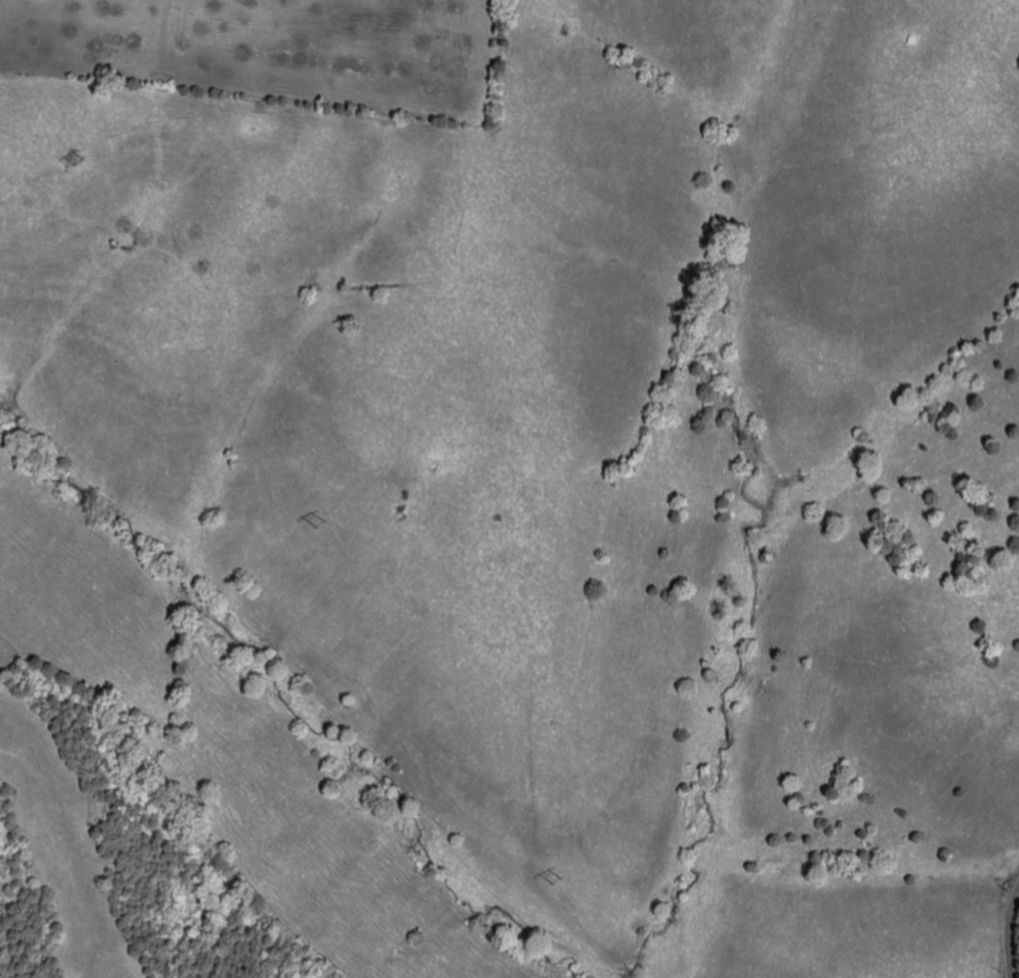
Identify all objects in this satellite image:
road: (1009, 932)

